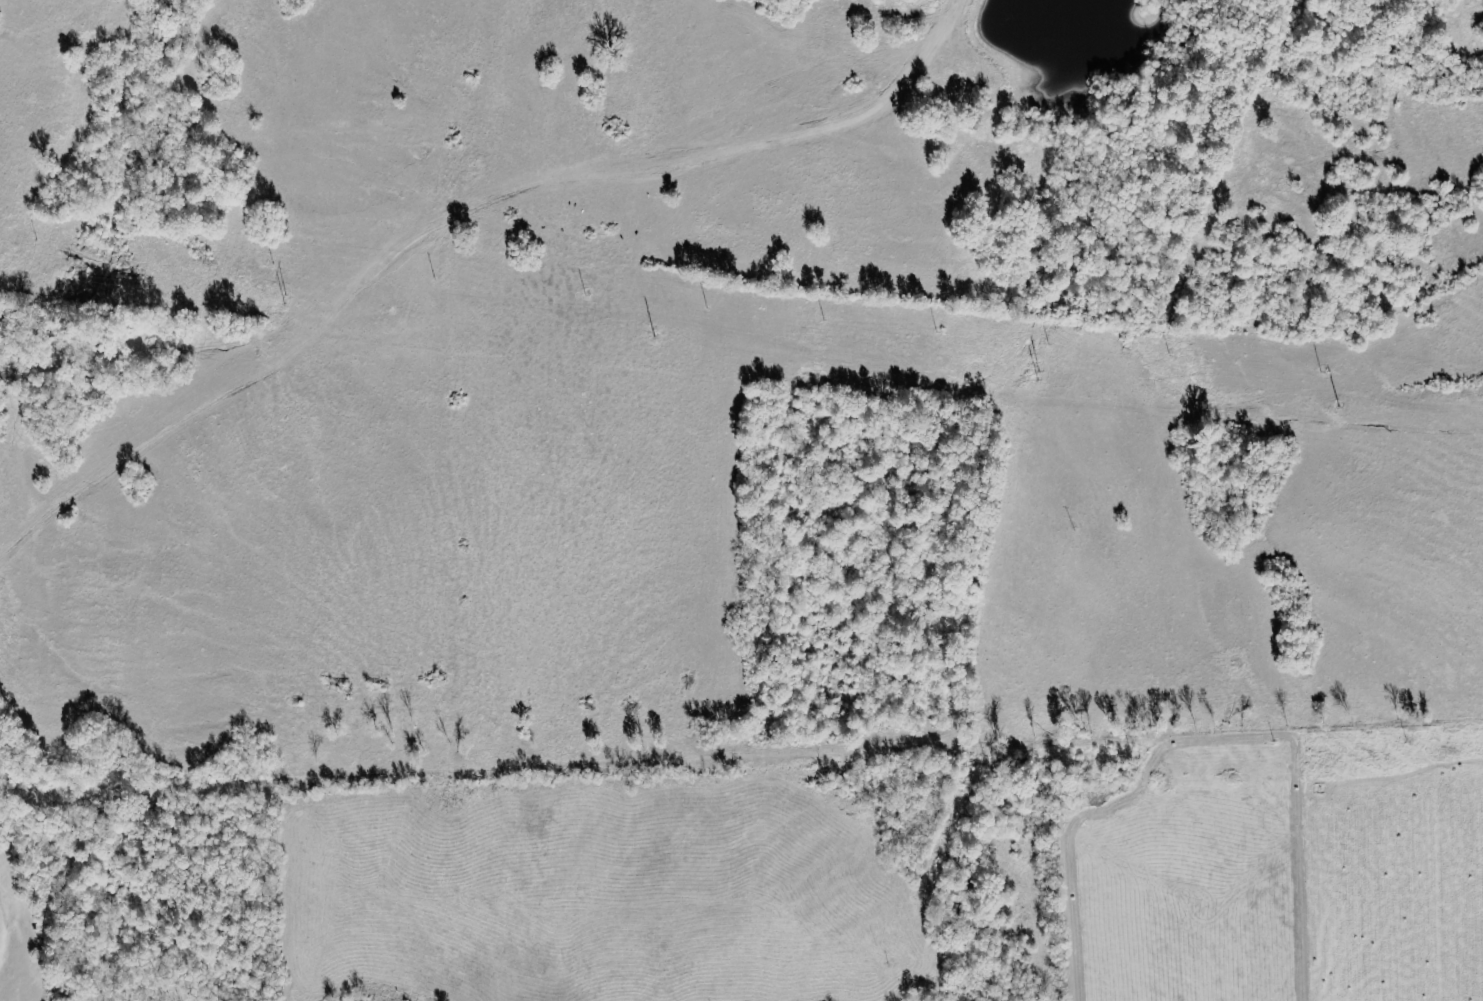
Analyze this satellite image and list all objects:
power tower: (287, 299)
power tower: (650, 340)
power tower: (1039, 377)
power tower: (1336, 407)

